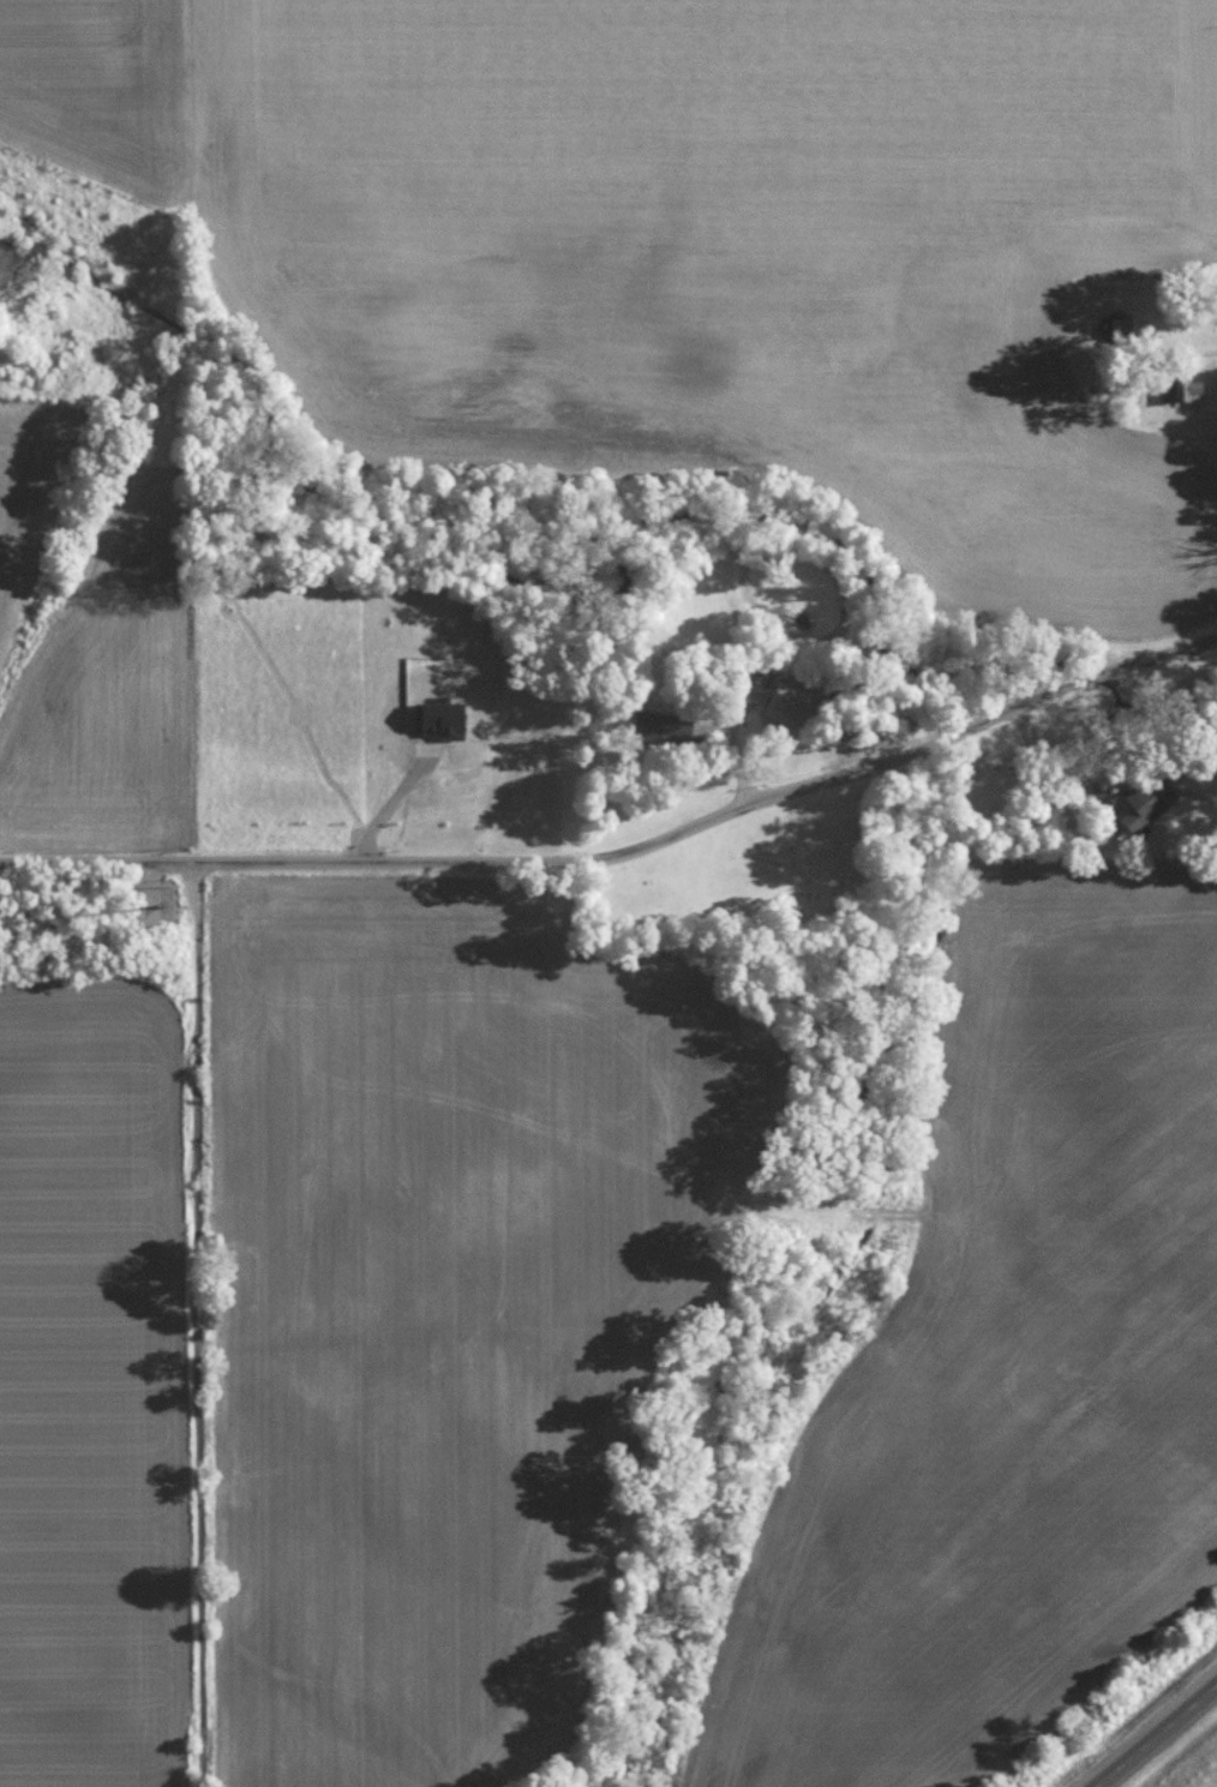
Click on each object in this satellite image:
building: (1193, 389)
building: (799, 707)
building: (667, 726)
road: (1024, 730)
road: (886, 750)
road: (1033, 762)
building: (1151, 802)
road: (389, 805)
road: (1062, 812)
road: (277, 862)
road: (200, 1324)
road: (1152, 1732)

